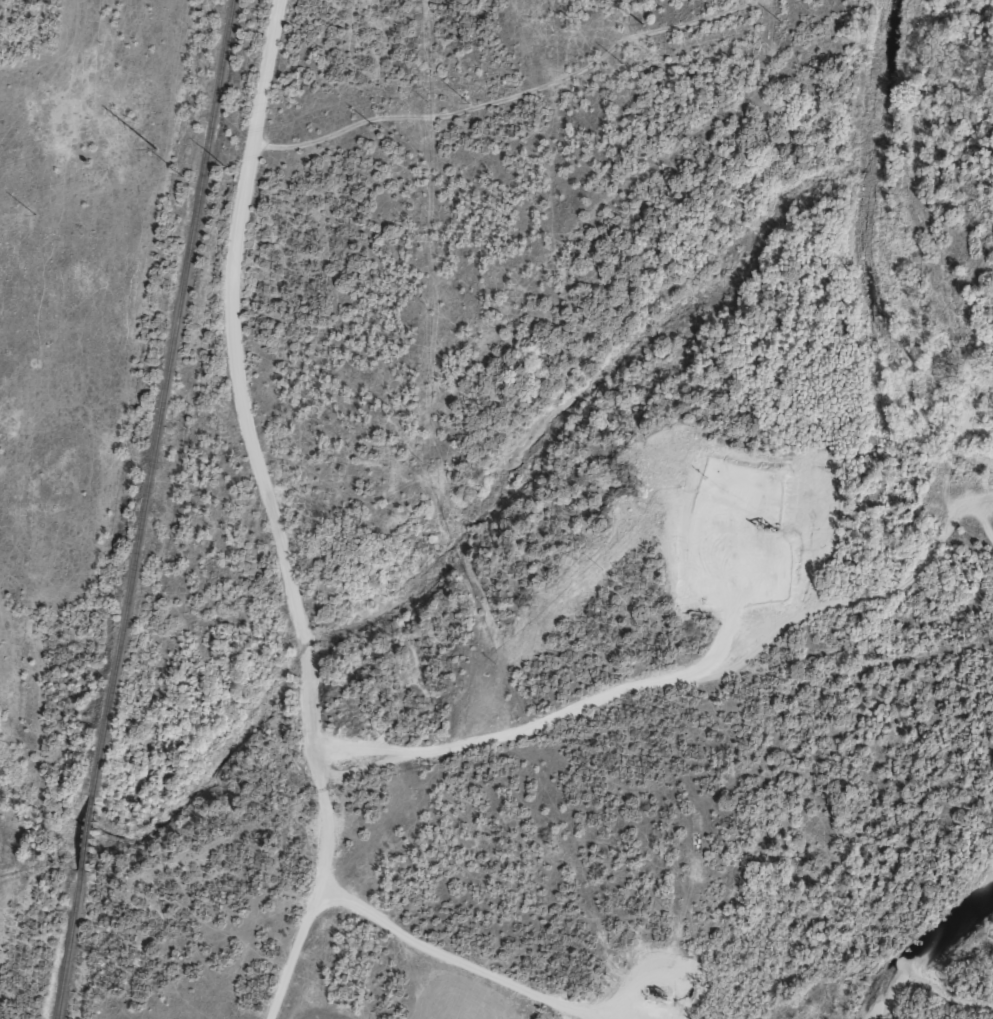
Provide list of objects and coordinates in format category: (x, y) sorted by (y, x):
power tower: (638, 24)
power tower: (152, 149)
railway: (138, 509)
road: (269, 595)
road: (294, 951)

